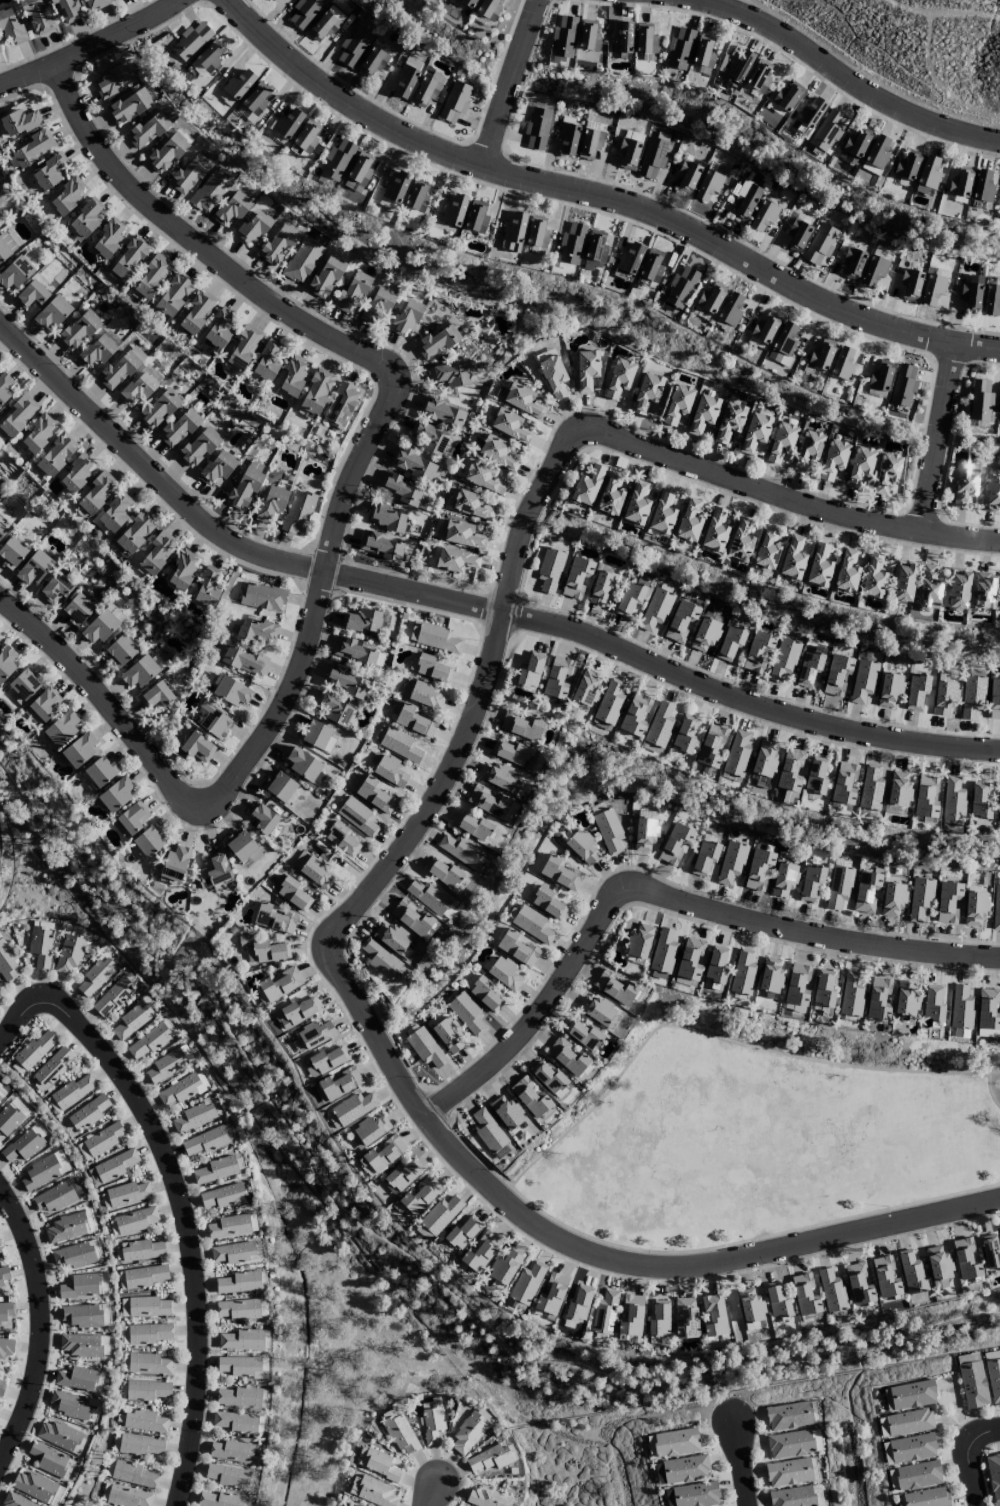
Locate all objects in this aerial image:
building: (271, 0)
building: (467, 3)
building: (94, 4)
building: (488, 9)
building: (67, 11)
building: (306, 12)
road: (943, 15)
building: (36, 16)
building: (324, 27)
building: (11, 29)
building: (564, 36)
building: (588, 36)
building: (622, 39)
building: (645, 40)
building: (191, 41)
building: (354, 46)
park: (911, 48)
road: (94, 49)
building: (679, 49)
building: (703, 52)
building: (210, 56)
building: (373, 62)
building: (738, 66)
building: (198, 69)
building: (759, 76)
road: (849, 80)
building: (405, 81)
building: (111, 82)
building: (239, 83)
road: (510, 83)
building: (427, 90)
building: (787, 97)
building: (256, 100)
building: (454, 101)
building: (129, 107)
building: (810, 113)
building: (19, 122)
building: (287, 124)
building: (537, 128)
building: (827, 130)
building: (147, 131)
building: (307, 136)
building: (567, 138)
building: (590, 143)
building: (854, 146)
building: (34, 148)
building: (629, 150)
building: (878, 152)
building: (167, 153)
building: (652, 158)
building: (337, 160)
building: (907, 165)
building: (50, 171)
building: (358, 174)
building: (188, 175)
building: (687, 176)
building: (928, 176)
building: (959, 184)
building: (708, 186)
building: (983, 187)
building: (396, 188)
building: (210, 191)
building: (68, 195)
road: (598, 197)
building: (417, 198)
building: (999, 198)
building: (742, 200)
building: (232, 208)
building: (454, 211)
building: (764, 216)
building: (476, 218)
building: (85, 219)
building: (252, 228)
building: (536, 232)
building: (513, 233)
building: (797, 235)
building: (109, 237)
building: (6, 240)
building: (279, 244)
building: (572, 244)
building: (820, 244)
building: (596, 246)
building: (3, 251)
road: (205, 255)
building: (129, 259)
building: (629, 259)
building: (302, 261)
building: (852, 263)
building: (651, 266)
building: (874, 271)
building: (14, 274)
building: (152, 277)
building: (326, 277)
building: (910, 284)
building: (680, 288)
building: (933, 290)
building: (353, 292)
building: (971, 293)
building: (31, 295)
building: (173, 296)
building: (710, 298)
building: (992, 300)
building: (378, 304)
building: (197, 312)
building: (53, 313)
building: (729, 313)
building: (701, 314)
building: (405, 318)
building: (764, 328)
building: (79, 330)
building: (218, 331)
building: (785, 338)
building: (436, 342)
building: (242, 348)
building: (96, 351)
building: (821, 355)
building: (778, 357)
building: (267, 361)
building: (843, 363)
building: (586, 370)
building: (117, 371)
building: (451, 374)
building: (292, 376)
building: (880, 376)
building: (553, 377)
building: (619, 378)
building: (903, 386)
building: (5, 387)
building: (137, 388)
building: (316, 393)
building: (648, 394)
building: (522, 400)
building: (980, 400)
building: (677, 404)
building: (341, 405)
building: (159, 408)
building: (442, 413)
building: (703, 413)
building: (17, 417)
building: (729, 422)
building: (510, 426)
building: (178, 429)
building: (755, 432)
building: (37, 435)
building: (429, 438)
road: (935, 441)
building: (781, 442)
building: (199, 447)
building: (807, 450)
building: (497, 453)
building: (55, 456)
building: (834, 460)
building: (414, 464)
building: (860, 465)
building: (217, 468)
building: (76, 473)
building: (886, 473)
building: (483, 478)
building: (965, 484)
building: (586, 486)
building: (245, 487)
building: (398, 489)
building: (992, 489)
building: (97, 492)
building: (611, 495)
building: (271, 503)
building: (636, 504)
building: (472, 506)
building: (114, 512)
building: (298, 513)
building: (662, 513)
building: (386, 517)
building: (689, 521)
building: (2, 530)
building: (714, 531)
building: (135, 533)
building: (462, 535)
road: (919, 536)
building: (739, 541)
building: (380, 545)
building: (767, 548)
building: (12, 552)
building: (155, 553)
building: (792, 558)
building: (456, 560)
building: (819, 566)
building: (34, 568)
building: (182, 570)
road: (516, 570)
building: (550, 570)
building: (846, 571)
building: (576, 577)
building: (873, 578)
building: (903, 582)
building: (207, 588)
building: (602, 588)
building: (928, 588)
building: (55, 589)
building: (958, 589)
building: (983, 591)
building: (263, 597)
building: (629, 599)
road: (319, 603)
road: (463, 604)
building: (77, 609)
building: (655, 609)
building: (362, 621)
building: (681, 621)
building: (99, 627)
building: (256, 630)
building: (704, 635)
building: (437, 638)
building: (730, 643)
building: (120, 650)
building: (758, 651)
building: (353, 652)
building: (784, 660)
building: (7, 661)
building: (245, 661)
building: (808, 669)
building: (530, 670)
building: (140, 672)
building: (837, 675)
building: (557, 678)
building: (863, 681)
building: (346, 682)
building: (23, 686)
building: (586, 687)
building: (889, 690)
building: (231, 691)
building: (916, 692)
building: (422, 694)
building: (156, 696)
building: (944, 697)
building: (972, 697)
building: (994, 699)
building: (609, 702)
building: (45, 703)
building: (334, 709)
road: (111, 711)
building: (634, 714)
building: (211, 720)
building: (413, 720)
building: (660, 725)
building: (522, 726)
building: (62, 728)
building: (684, 734)
building: (316, 735)
building: (401, 745)
building: (711, 746)
building: (197, 747)
building: (79, 749)
building: (510, 753)
building: (737, 754)
building: (764, 759)
building: (303, 764)
building: (790, 770)
building: (101, 771)
building: (391, 772)
building: (497, 776)
building: (816, 776)
building: (843, 783)
building: (280, 786)
building: (870, 788)
building: (898, 790)
building: (116, 794)
building: (375, 795)
building: (925, 798)
building: (952, 799)
building: (979, 800)
building: (998, 804)
building: (358, 817)
building: (262, 818)
building: (131, 819)
building: (473, 826)
building: (608, 831)
building: (645, 833)
building: (341, 840)
building: (148, 841)
building: (675, 843)
building: (242, 847)
building: (582, 848)
building: (461, 850)
building: (704, 857)
building: (731, 862)
building: (175, 864)
building: (758, 869)
building: (313, 870)
building: (214, 873)
building: (443, 873)
building: (561, 874)
building: (784, 879)
building: (811, 883)
building: (838, 887)
building: (866, 891)
building: (290, 892)
road: (661, 892)
building: (430, 898)
building: (892, 899)
building: (920, 899)
building: (947, 902)
building: (548, 903)
building: (975, 908)
building: (996, 908)
building: (411, 918)
building: (274, 919)
building: (532, 925)
building: (392, 939)
building: (640, 940)
building: (40, 946)
building: (516, 948)
building: (264, 949)
building: (663, 951)
building: (69, 953)
building: (378, 958)
building: (690, 959)
building: (6, 963)
building: (716, 964)
building: (502, 973)
building: (742, 973)
building: (770, 976)
building: (95, 977)
building: (280, 984)
building: (797, 984)
building: (615, 988)
building: (823, 988)
building: (1, 991)
building: (482, 992)
building: (851, 995)
building: (112, 997)
building: (906, 998)
building: (878, 999)
building: (933, 1004)
building: (961, 1008)
building: (596, 1009)
building: (297, 1012)
building: (987, 1013)
building: (467, 1015)
road: (23, 1018)
building: (131, 1021)
building: (316, 1034)
building: (583, 1035)
building: (448, 1036)
building: (148, 1042)
building: (35, 1049)
building: (426, 1049)
building: (568, 1057)
building: (324, 1061)
building: (52, 1067)
building: (164, 1067)
building: (549, 1079)
building: (339, 1084)
building: (181, 1090)
road: (989, 1091)
building: (72, 1092)
building: (1, 1095)
building: (530, 1097)
building: (353, 1108)
building: (89, 1112)
building: (507, 1113)
building: (11, 1116)
building: (194, 1117)
building: (370, 1130)
building: (487, 1131)
building: (100, 1141)
building: (205, 1141)
park: (760, 1142)
building: (24, 1145)
building: (500, 1152)
building: (384, 1153)
building: (114, 1166)
road: (526, 1166)
building: (44, 1171)
building: (214, 1171)
building: (402, 1176)
building: (127, 1194)
building: (420, 1195)
building: (223, 1196)
building: (52, 1198)
building: (440, 1215)
building: (135, 1220)
building: (229, 1226)
building: (67, 1228)
road: (186, 1229)
building: (463, 1232)
building: (0, 1245)
building: (142, 1250)
road: (596, 1251)
building: (480, 1252)
building: (990, 1252)
building: (233, 1253)
building: (74, 1256)
building: (966, 1260)
building: (938, 1264)
building: (504, 1266)
building: (912, 1273)
building: (3, 1276)
building: (144, 1276)
building: (885, 1278)
building: (237, 1283)
building: (526, 1284)
building: (858, 1284)
building: (82, 1286)
building: (831, 1291)
building: (551, 1294)
building: (805, 1298)
building: (776, 1301)
building: (578, 1304)
building: (750, 1305)
building: (145, 1307)
building: (238, 1309)
building: (6, 1312)
building: (604, 1313)
building: (631, 1315)
building: (713, 1315)
building: (82, 1316)
building: (686, 1318)
building: (659, 1319)
road: (39, 1325)
building: (148, 1333)
building: (242, 1340)
building: (80, 1345)
building: (6, 1348)
building: (148, 1364)
building: (239, 1366)
building: (993, 1376)
building: (77, 1379)
building: (972, 1385)
building: (1, 1387)
building: (148, 1390)
building: (912, 1395)
building: (239, 1397)
building: (70, 1405)
building: (789, 1416)
building: (144, 1420)
building: (236, 1422)
building: (431, 1423)
building: (909, 1423)
building: (468, 1432)
building: (400, 1433)
road: (990, 1434)
building: (59, 1436)
building: (816, 1439)
building: (675, 1443)
building: (790, 1444)
building: (140, 1445)
building: (912, 1448)
building: (232, 1452)
building: (489, 1459)
building: (379, 1464)
road: (738, 1465)
building: (685, 1469)
road: (967, 1469)
building: (788, 1472)
building: (132, 1474)
building: (918, 1475)
building: (228, 1476)
building: (993, 1477)
building: (34, 1486)
road: (434, 1493)
building: (376, 1494)
building: (696, 1495)
building: (127, 1496)
building: (792, 1497)
building: (488, 1498)
building: (927, 1498)
building: (219, 1500)
building: (15, 1501)
building: (359, 1505)

